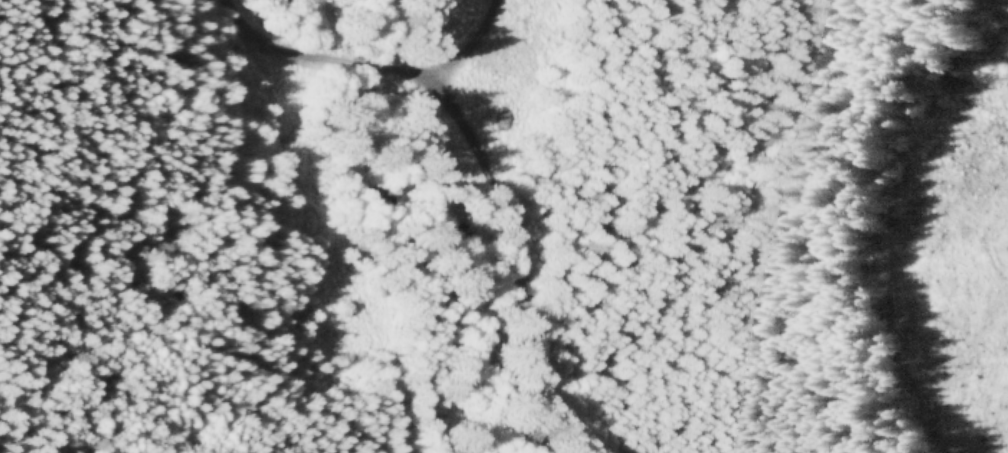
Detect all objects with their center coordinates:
road: (404, 68)
road: (315, 222)
road: (511, 260)

